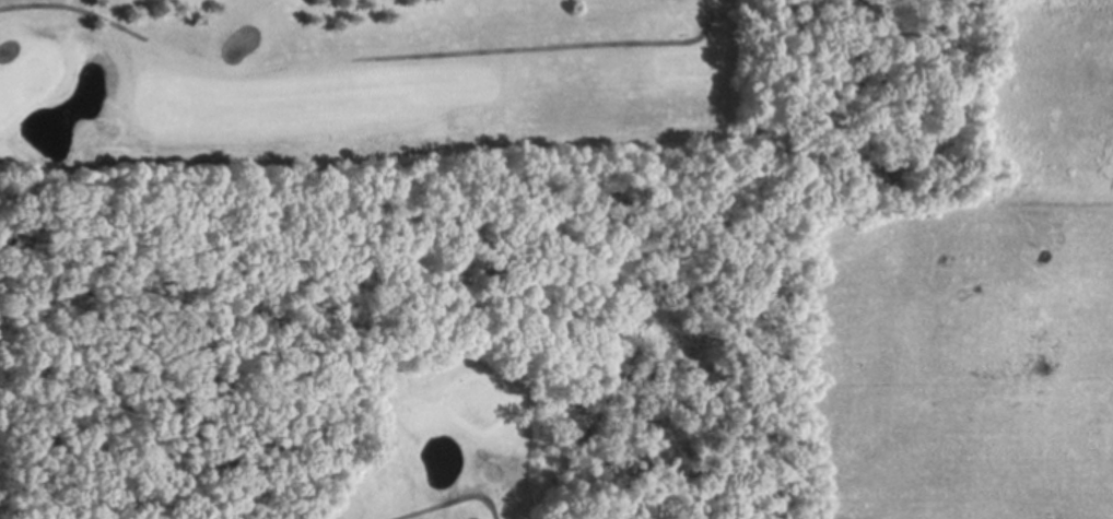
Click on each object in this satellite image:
road: (363, 59)
park: (23, 84)
park: (386, 259)
park: (482, 401)
road: (453, 499)

